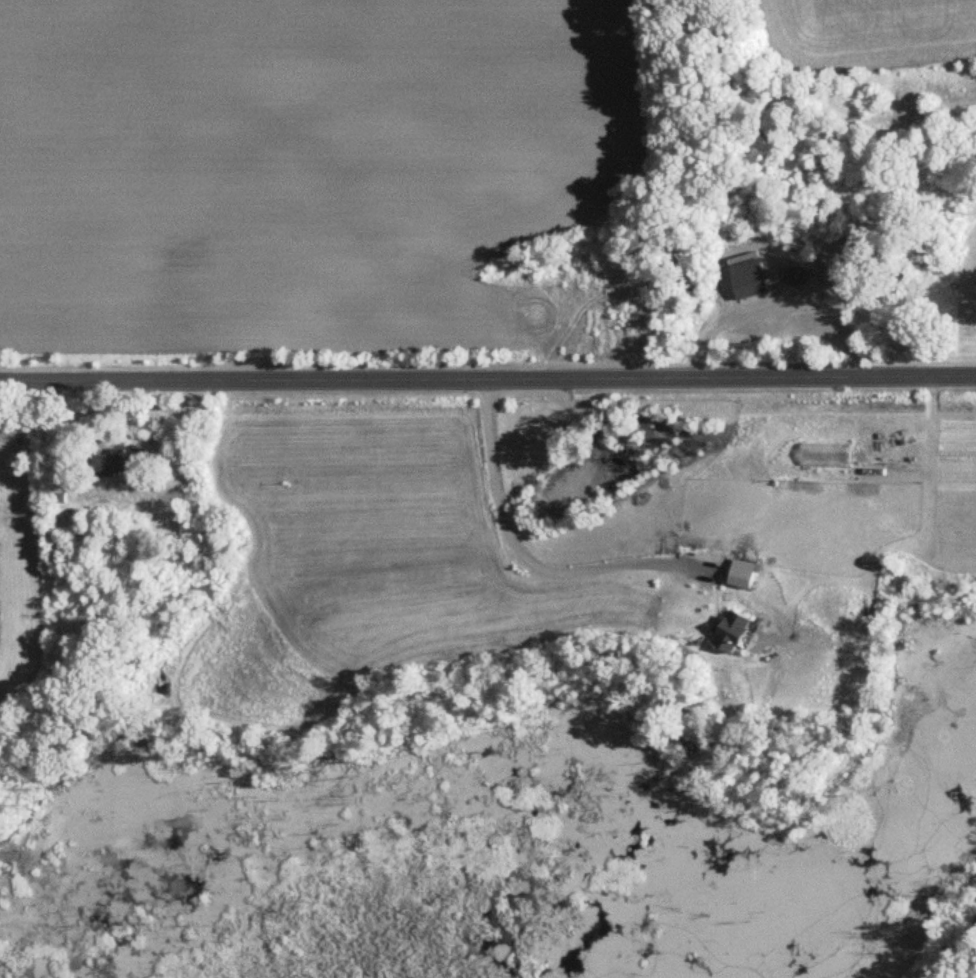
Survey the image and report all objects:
building: (778, 244)
building: (750, 279)
road: (488, 378)
building: (121, 463)
road: (521, 554)

